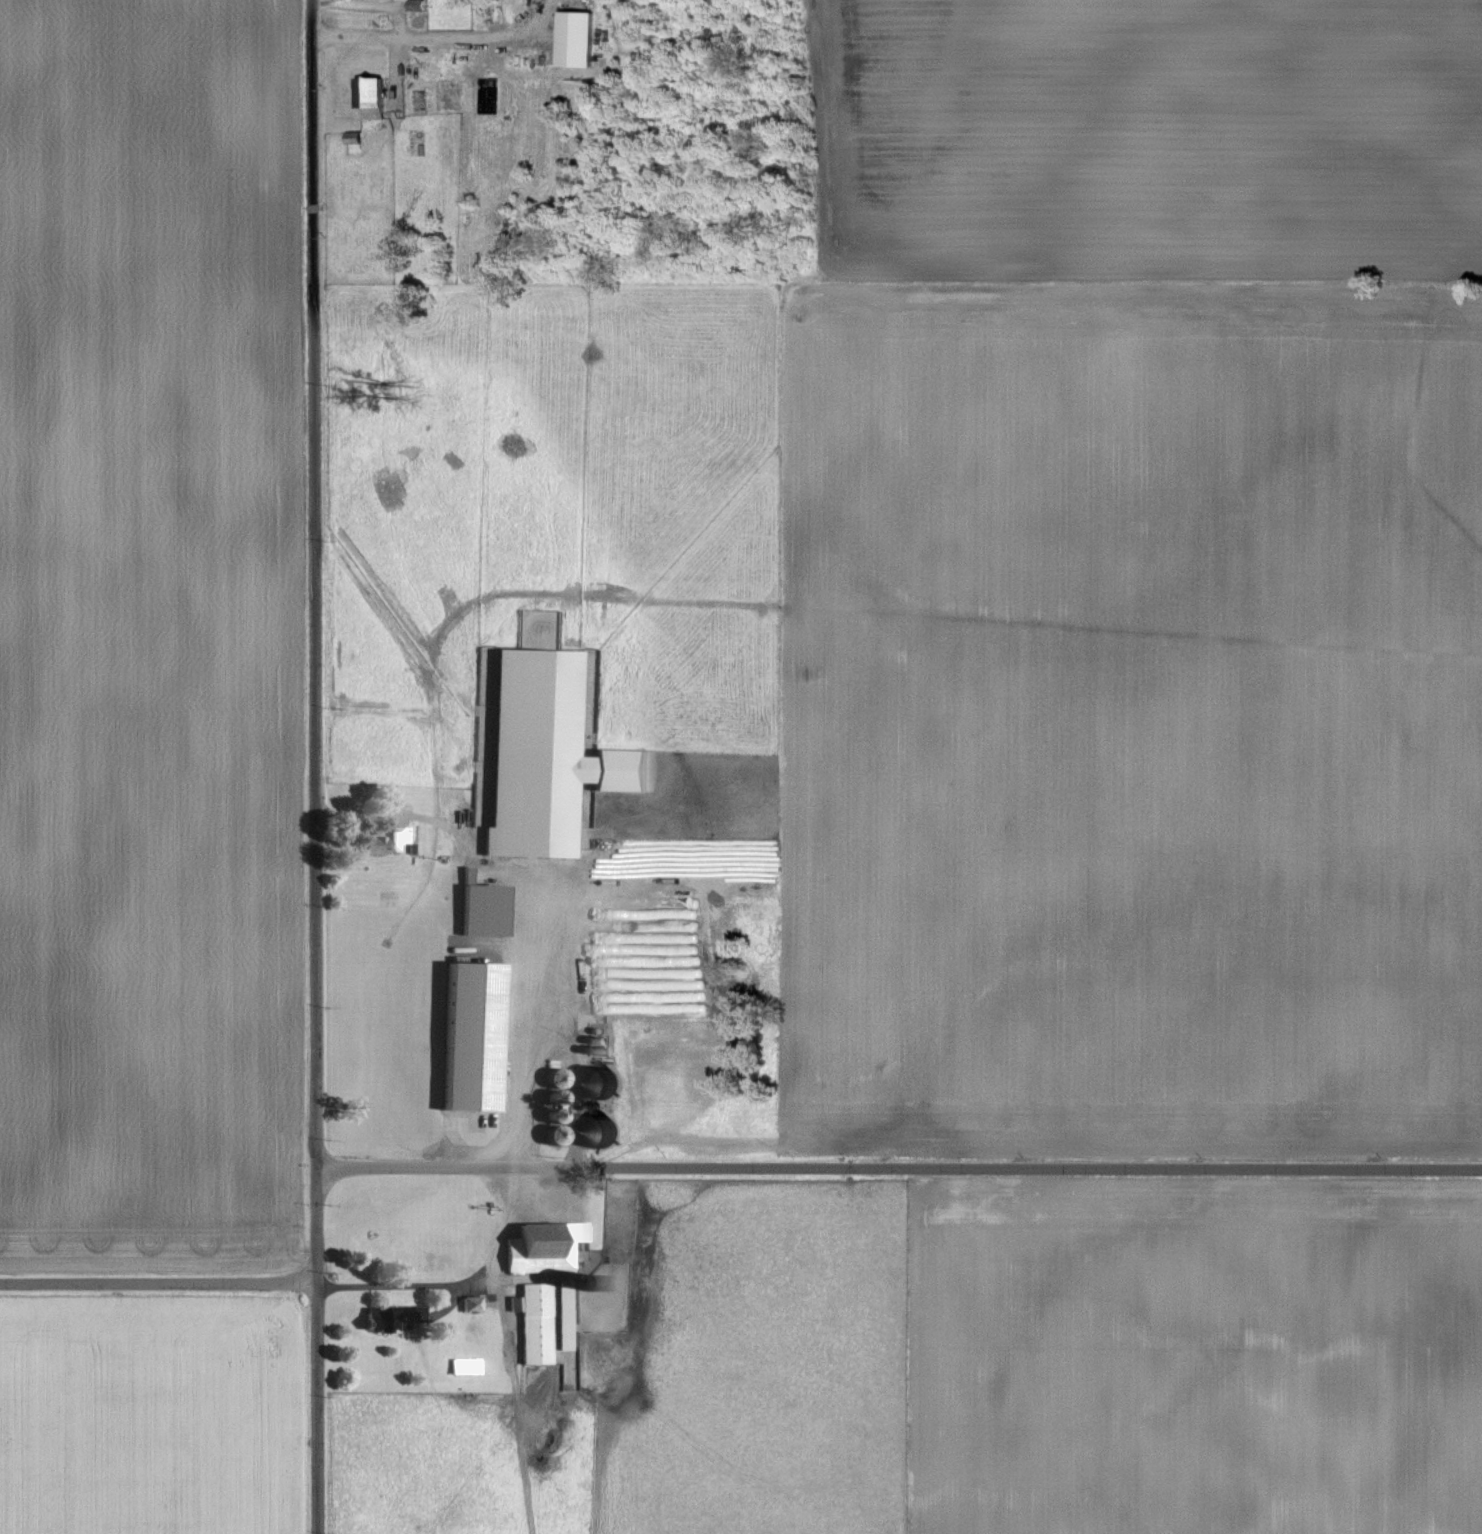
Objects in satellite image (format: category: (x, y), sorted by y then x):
road: (370, 3)
road: (430, 36)
building: (571, 38)
building: (365, 97)
road: (311, 579)
building: (539, 753)
building: (380, 838)
building: (473, 907)
building: (466, 1033)
road: (525, 1131)
road: (899, 1166)
road: (316, 1216)
building: (538, 1245)
road: (158, 1283)
building: (530, 1320)
building: (461, 1364)
road: (314, 1403)

